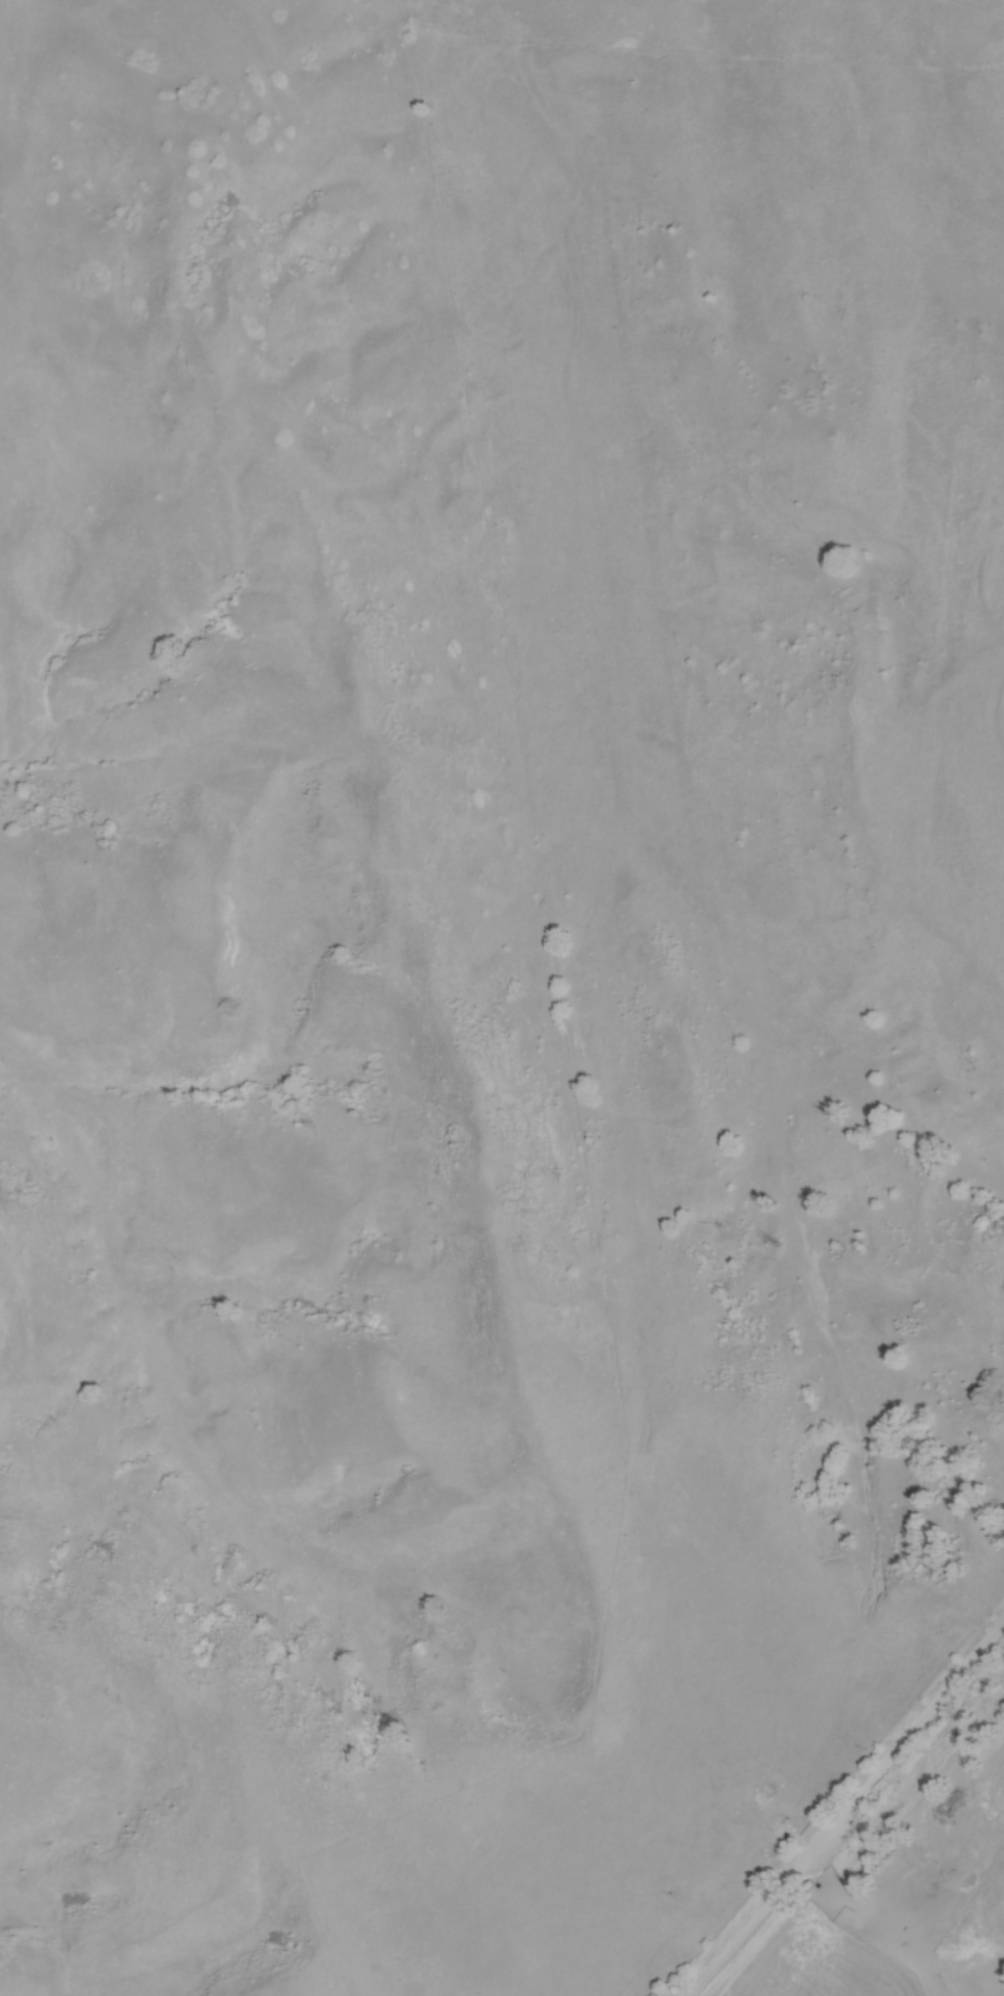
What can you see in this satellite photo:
road: (847, 1810)

